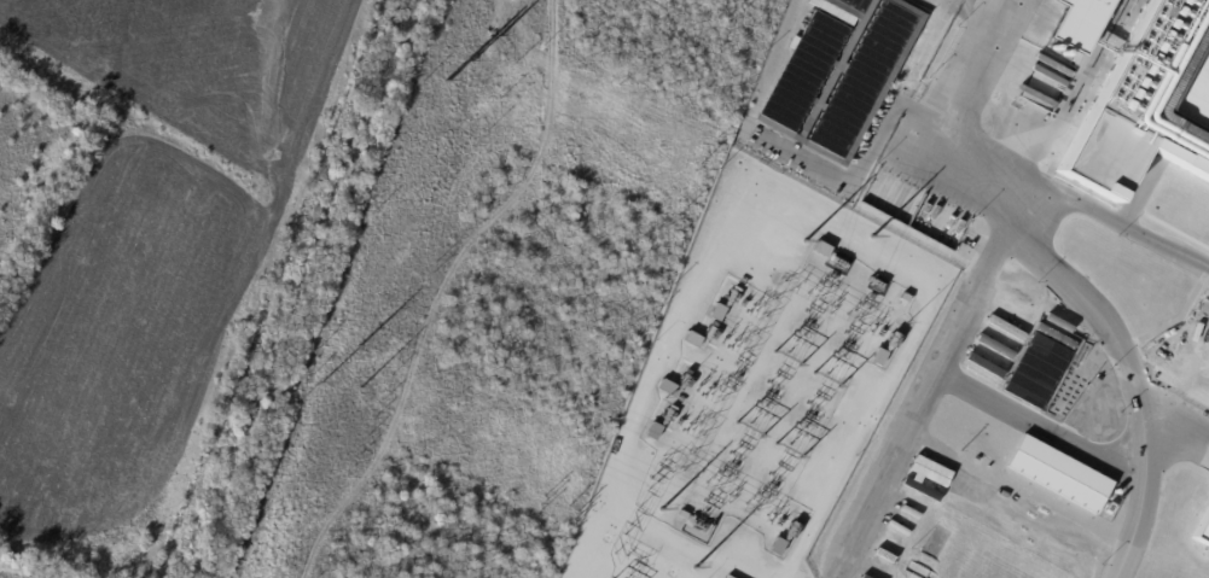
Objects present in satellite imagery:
building: (1085, 23)
building: (841, 75)
road: (913, 81)
building: (1146, 100)
road: (1079, 208)
building: (824, 250)
road: (1059, 273)
building: (717, 313)
park: (111, 322)
building: (1005, 328)
building: (694, 339)
building: (993, 344)
building: (880, 357)
building: (989, 361)
building: (982, 364)
building: (1039, 372)
building: (971, 378)
power substation: (767, 381)
building: (669, 389)
road: (920, 402)
building: (960, 418)
building: (655, 432)
building: (947, 434)
building: (1006, 449)
building: (1054, 478)
power tower: (661, 509)
building: (1203, 530)
building: (778, 547)
power tower: (694, 568)
building: (728, 577)

